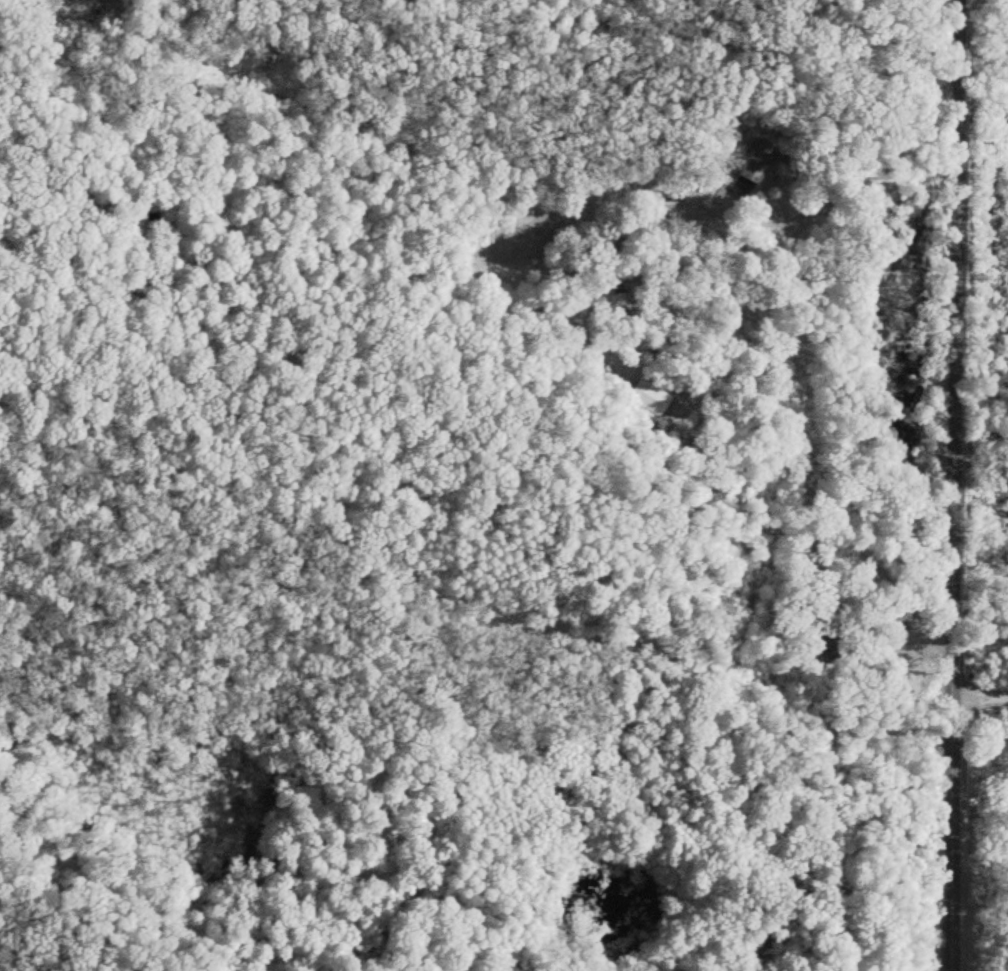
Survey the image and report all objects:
road: (752, 336)
road: (957, 485)
road: (983, 674)

